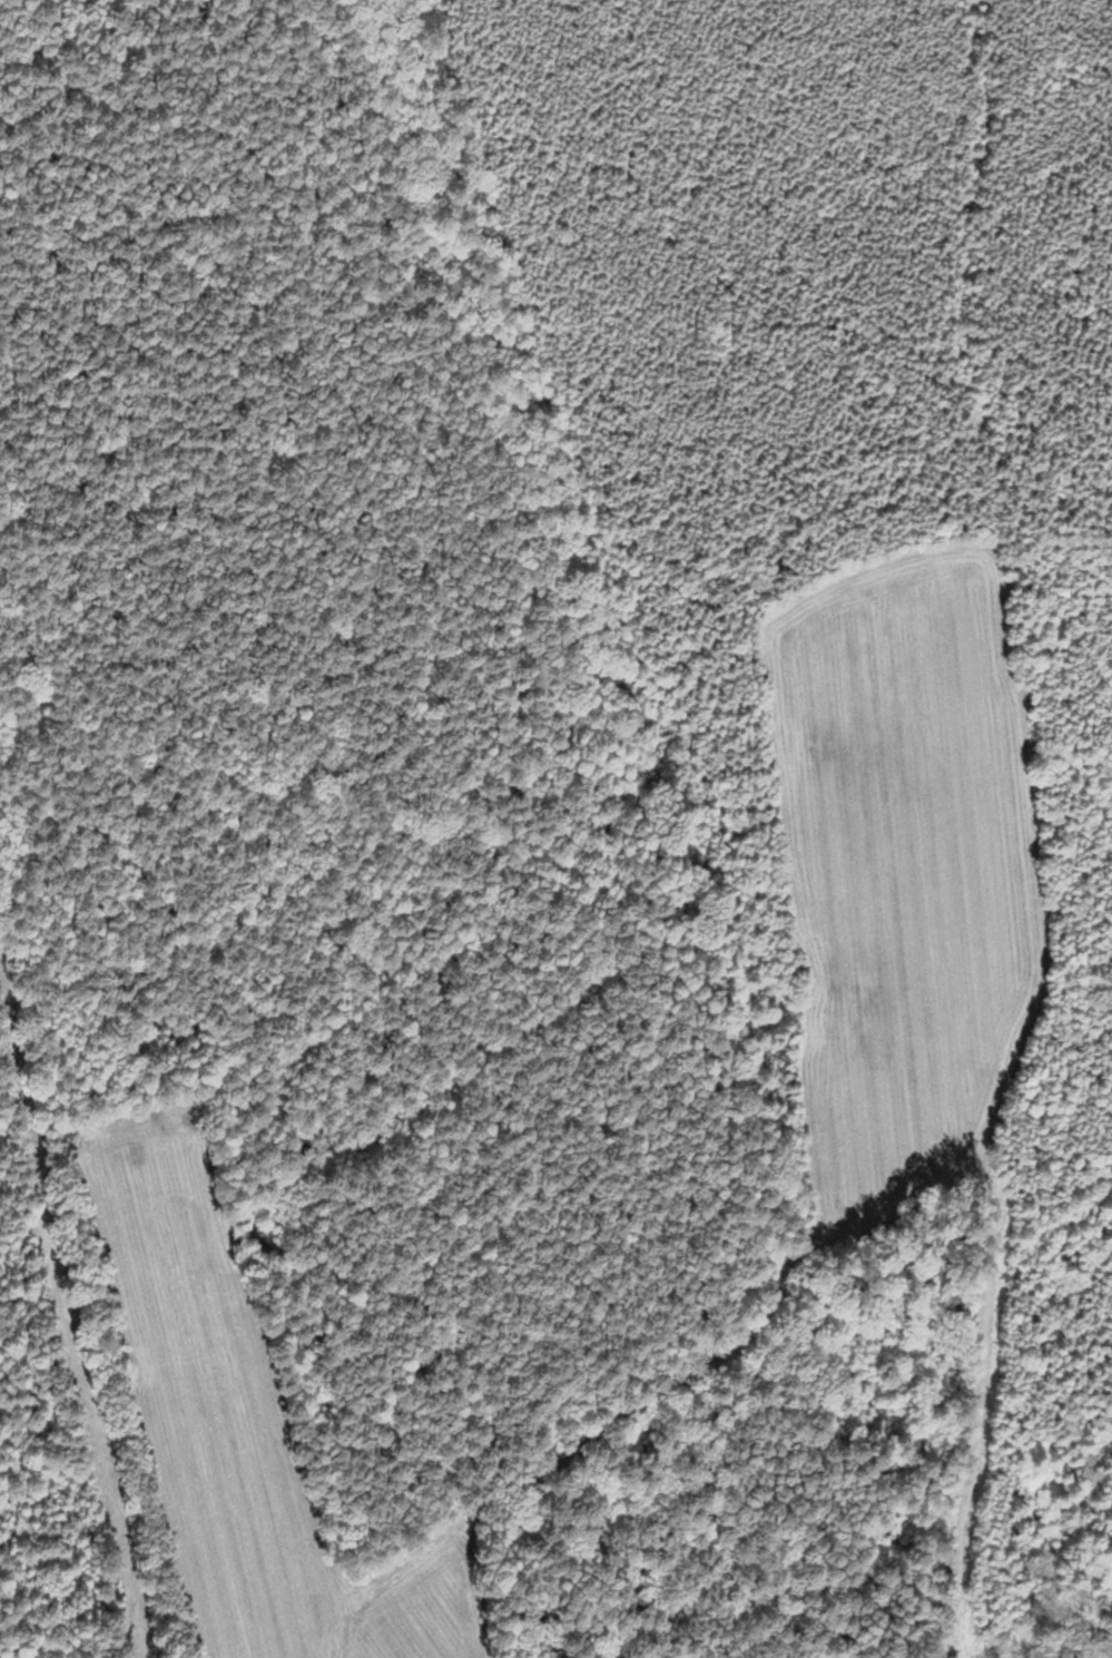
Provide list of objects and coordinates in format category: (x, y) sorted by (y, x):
road: (51, 1471)

